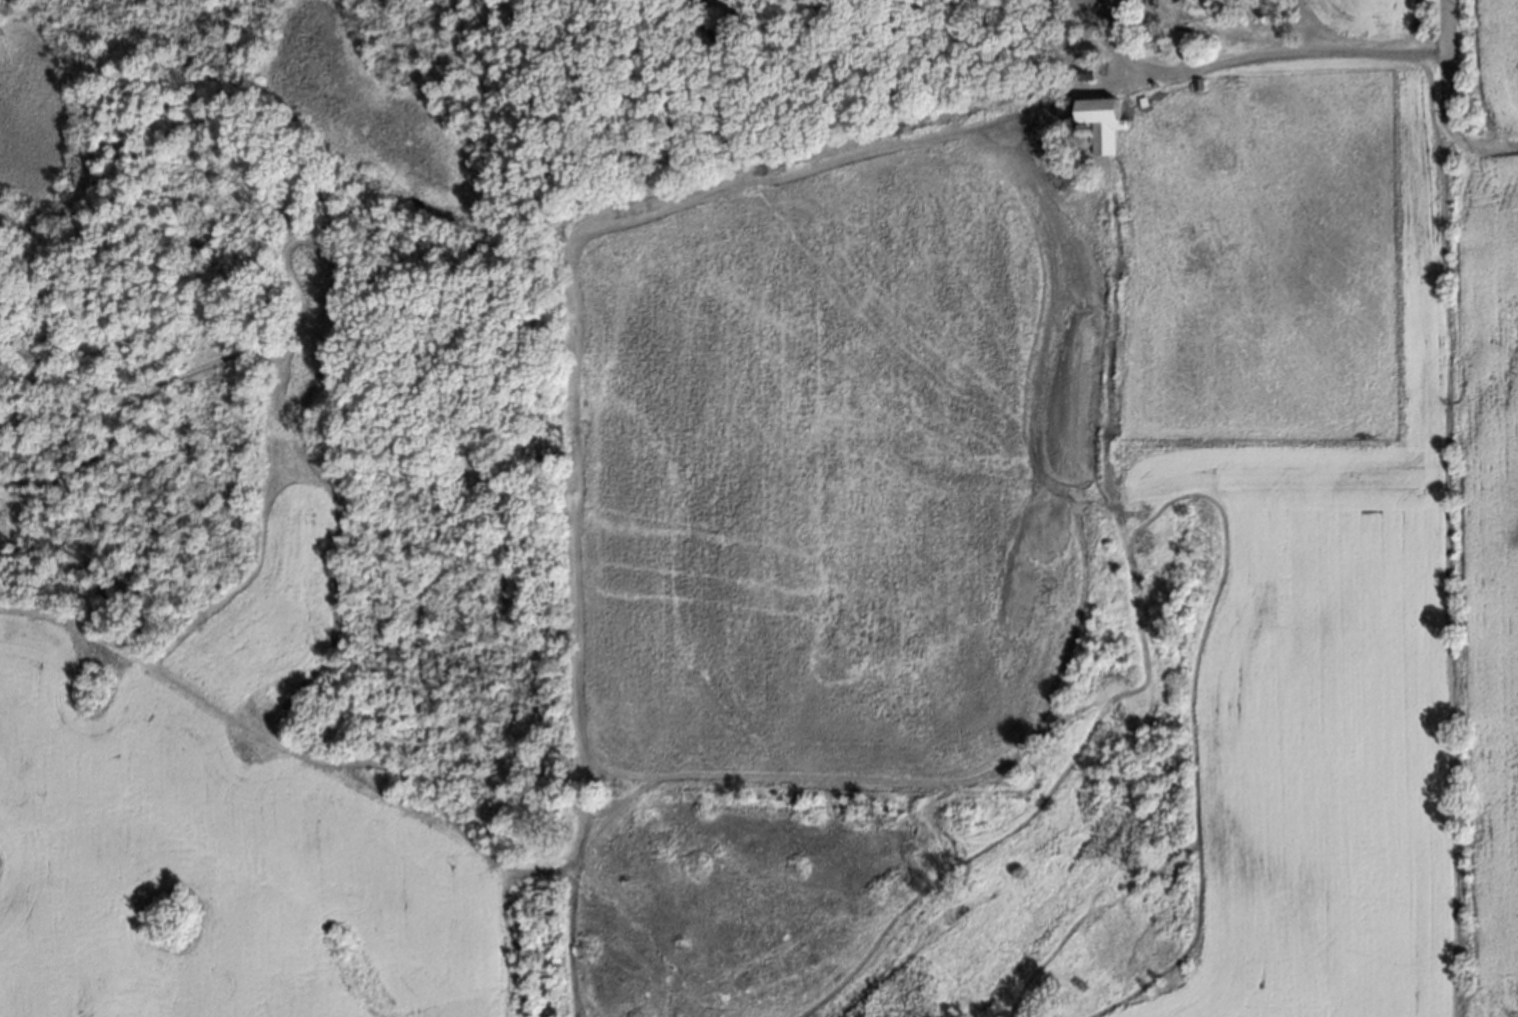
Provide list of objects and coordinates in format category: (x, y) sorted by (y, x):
road: (1243, 54)
building: (1079, 59)
road: (1443, 61)
building: (1083, 73)
building: (1195, 86)
building: (1140, 98)
building: (1098, 119)
road: (1478, 142)

